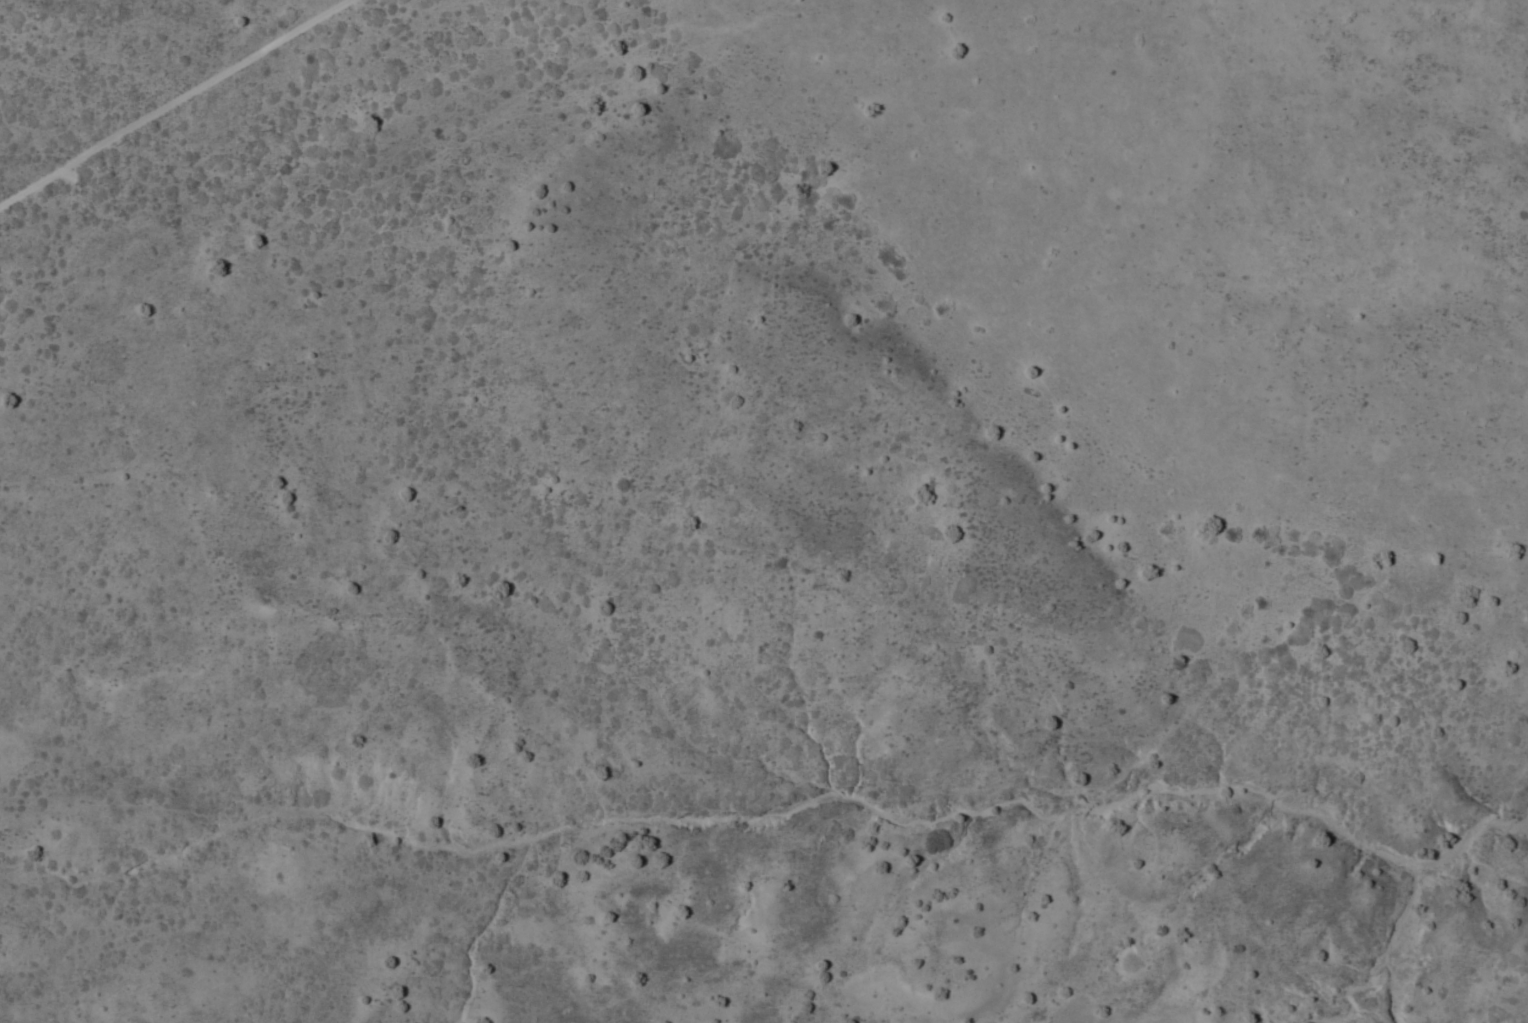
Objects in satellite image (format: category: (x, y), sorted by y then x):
road: (162, 92)

